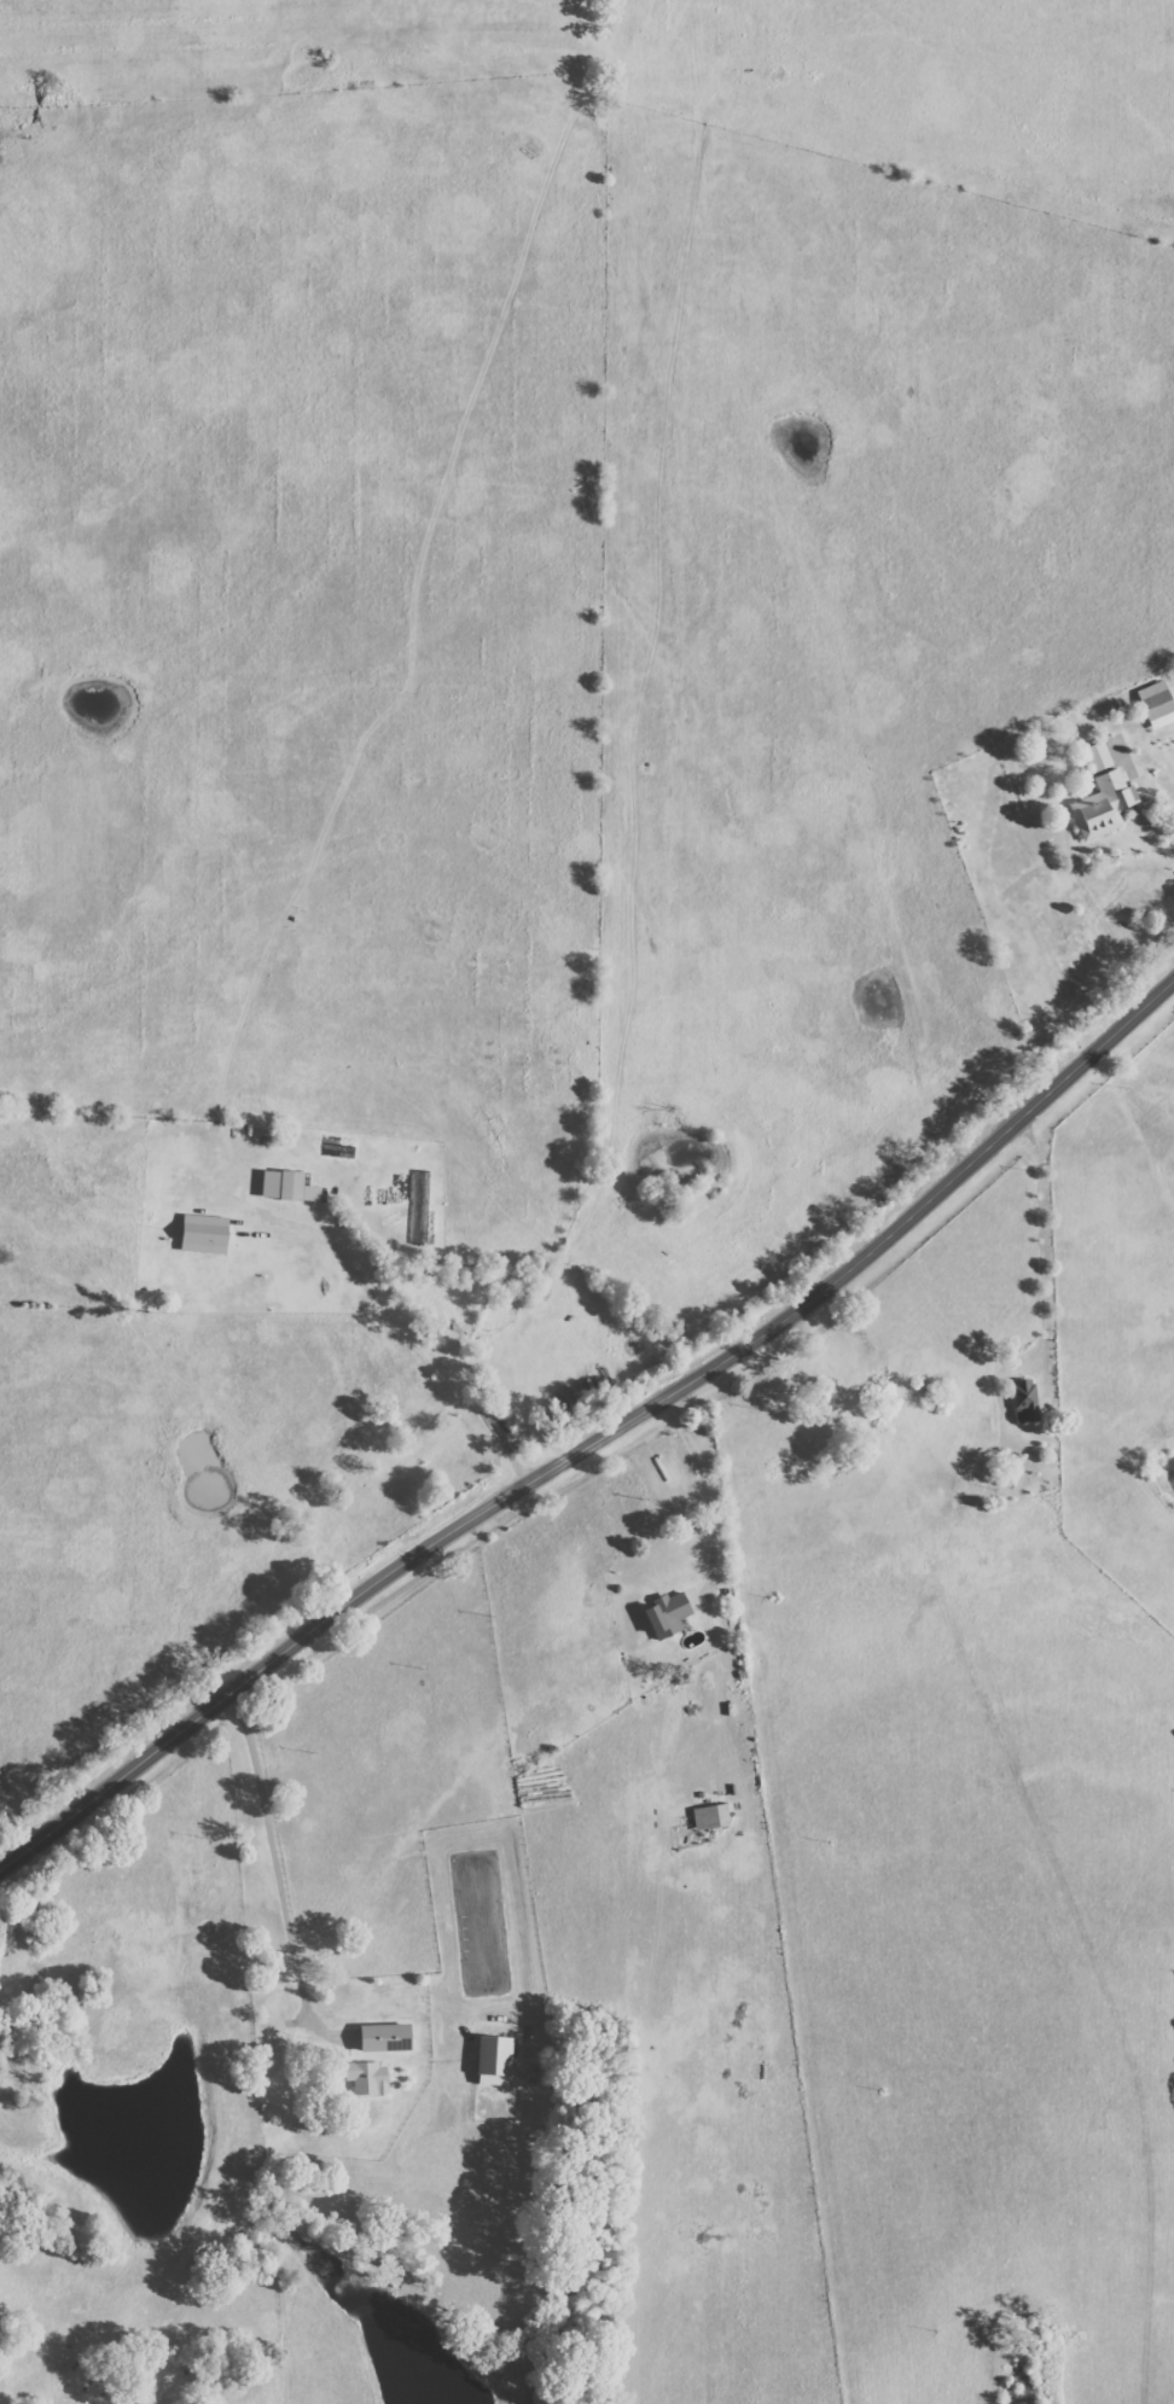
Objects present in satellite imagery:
building: (1156, 704)
building: (1097, 756)
building: (1103, 805)
road: (1166, 819)
building: (280, 1184)
building: (202, 1234)
road: (418, 1339)
building: (1024, 1401)
road: (599, 1437)
road: (710, 1495)
building: (664, 1616)
building: (710, 1816)
road: (274, 1870)
building: (382, 2037)
building: (492, 2055)
building: (367, 2078)

